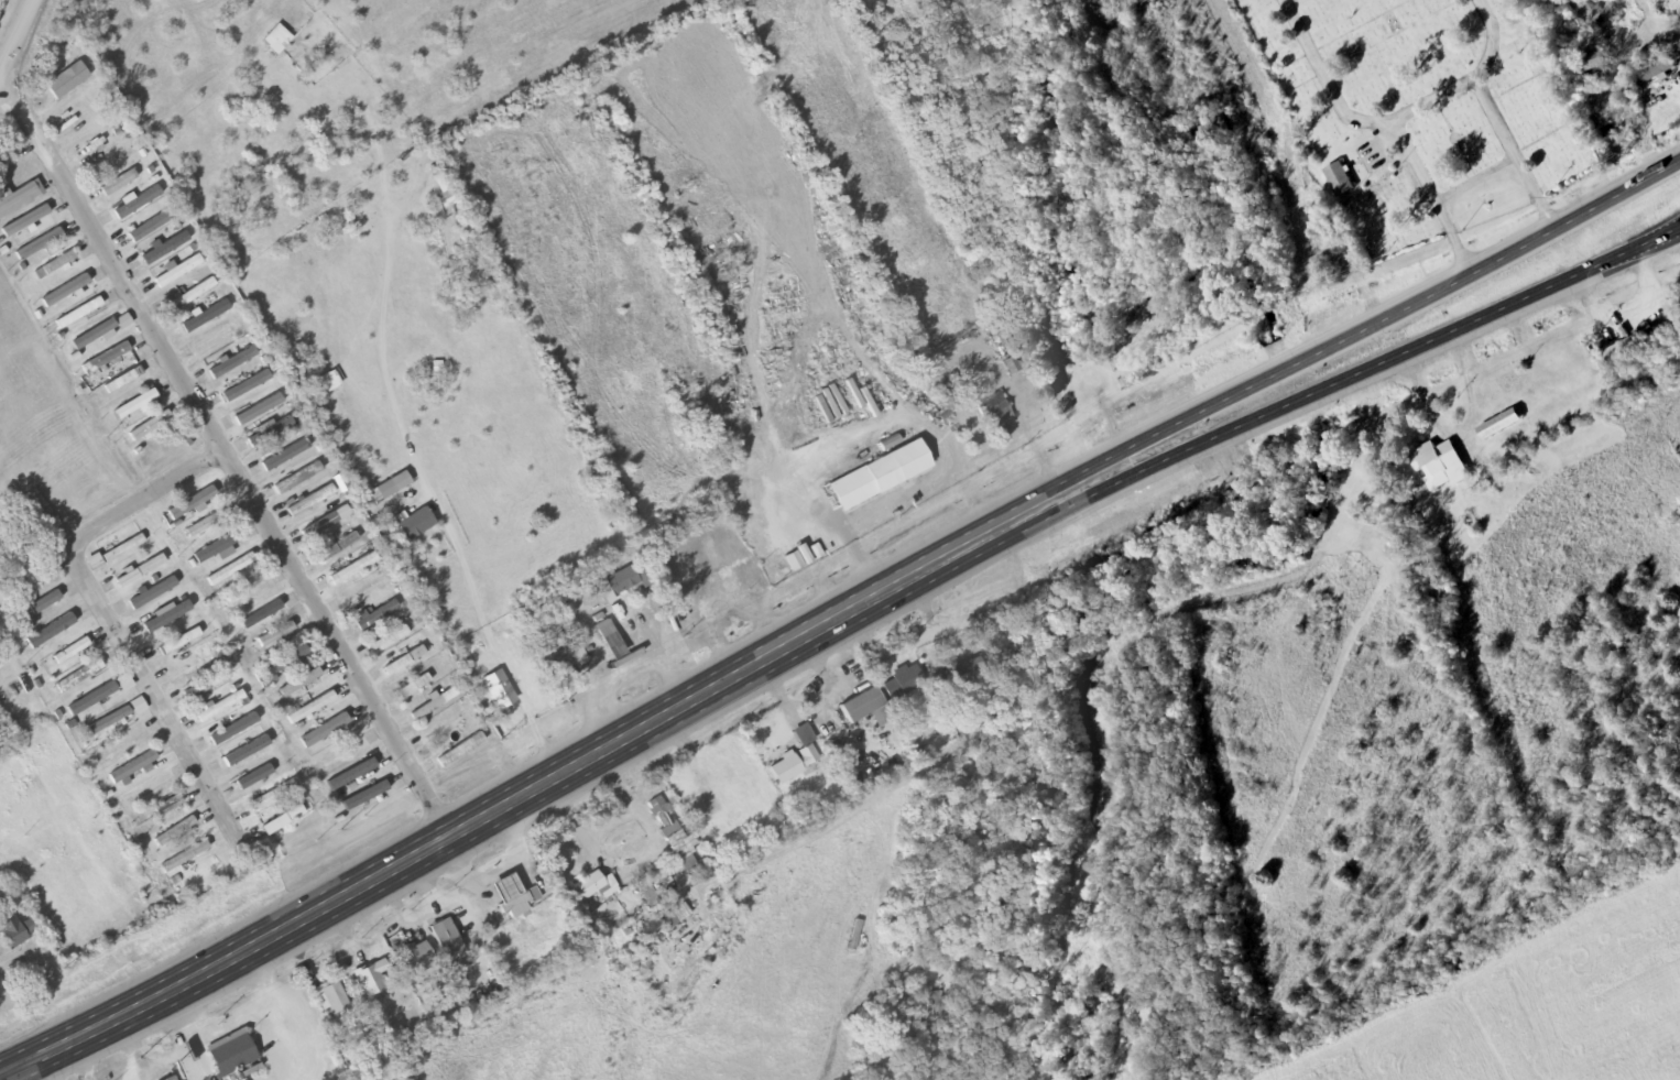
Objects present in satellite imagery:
road: (17, 37)
road: (1492, 40)
building: (1651, 70)
road: (1324, 78)
road: (1429, 99)
park: (1420, 110)
building: (1339, 179)
road: (1474, 181)
building: (118, 182)
building: (19, 197)
building: (138, 203)
building: (25, 221)
building: (39, 244)
building: (164, 247)
building: (58, 263)
building: (177, 271)
building: (65, 291)
building: (192, 294)
building: (78, 313)
road: (1387, 315)
building: (204, 316)
building: (91, 336)
building: (217, 339)
building: (1632, 347)
building: (105, 358)
road: (1389, 360)
building: (123, 380)
building: (223, 382)
building: (134, 404)
building: (993, 408)
building: (258, 410)
building: (1498, 424)
building: (150, 427)
building: (268, 433)
road: (233, 449)
building: (285, 456)
building: (1438, 465)
building: (879, 474)
building: (297, 479)
building: (310, 501)
building: (192, 503)
building: (325, 523)
building: (201, 525)
building: (217, 547)
building: (337, 547)
building: (374, 550)
building: (94, 563)
building: (230, 569)
building: (139, 570)
building: (350, 570)
building: (622, 581)
building: (151, 592)
building: (44, 602)
road: (105, 608)
building: (377, 613)
building: (166, 617)
building: (257, 617)
building: (50, 631)
building: (275, 635)
building: (610, 639)
building: (389, 640)
building: (178, 642)
building: (70, 651)
building: (951, 651)
building: (572, 657)
building: (404, 661)
building: (283, 662)
building: (78, 676)
building: (299, 681)
building: (123, 683)
building: (899, 683)
building: (204, 685)
building: (413, 686)
building: (91, 698)
building: (433, 705)
building: (138, 706)
building: (219, 706)
building: (865, 707)
building: (310, 708)
building: (232, 729)
building: (324, 730)
building: (118, 743)
building: (342, 750)
building: (460, 751)
building: (246, 753)
building: (794, 763)
building: (132, 767)
building: (356, 772)
road: (549, 781)
building: (145, 789)
building: (271, 795)
road: (816, 796)
building: (167, 806)
building: (281, 820)
building: (174, 831)
building: (674, 836)
building: (184, 857)
building: (596, 885)
building: (514, 896)
building: (674, 916)
building: (14, 929)
building: (450, 946)
building: (416, 957)
building: (370, 978)
building: (331, 999)
building: (231, 1055)
road: (36, 1068)
building: (170, 1078)

